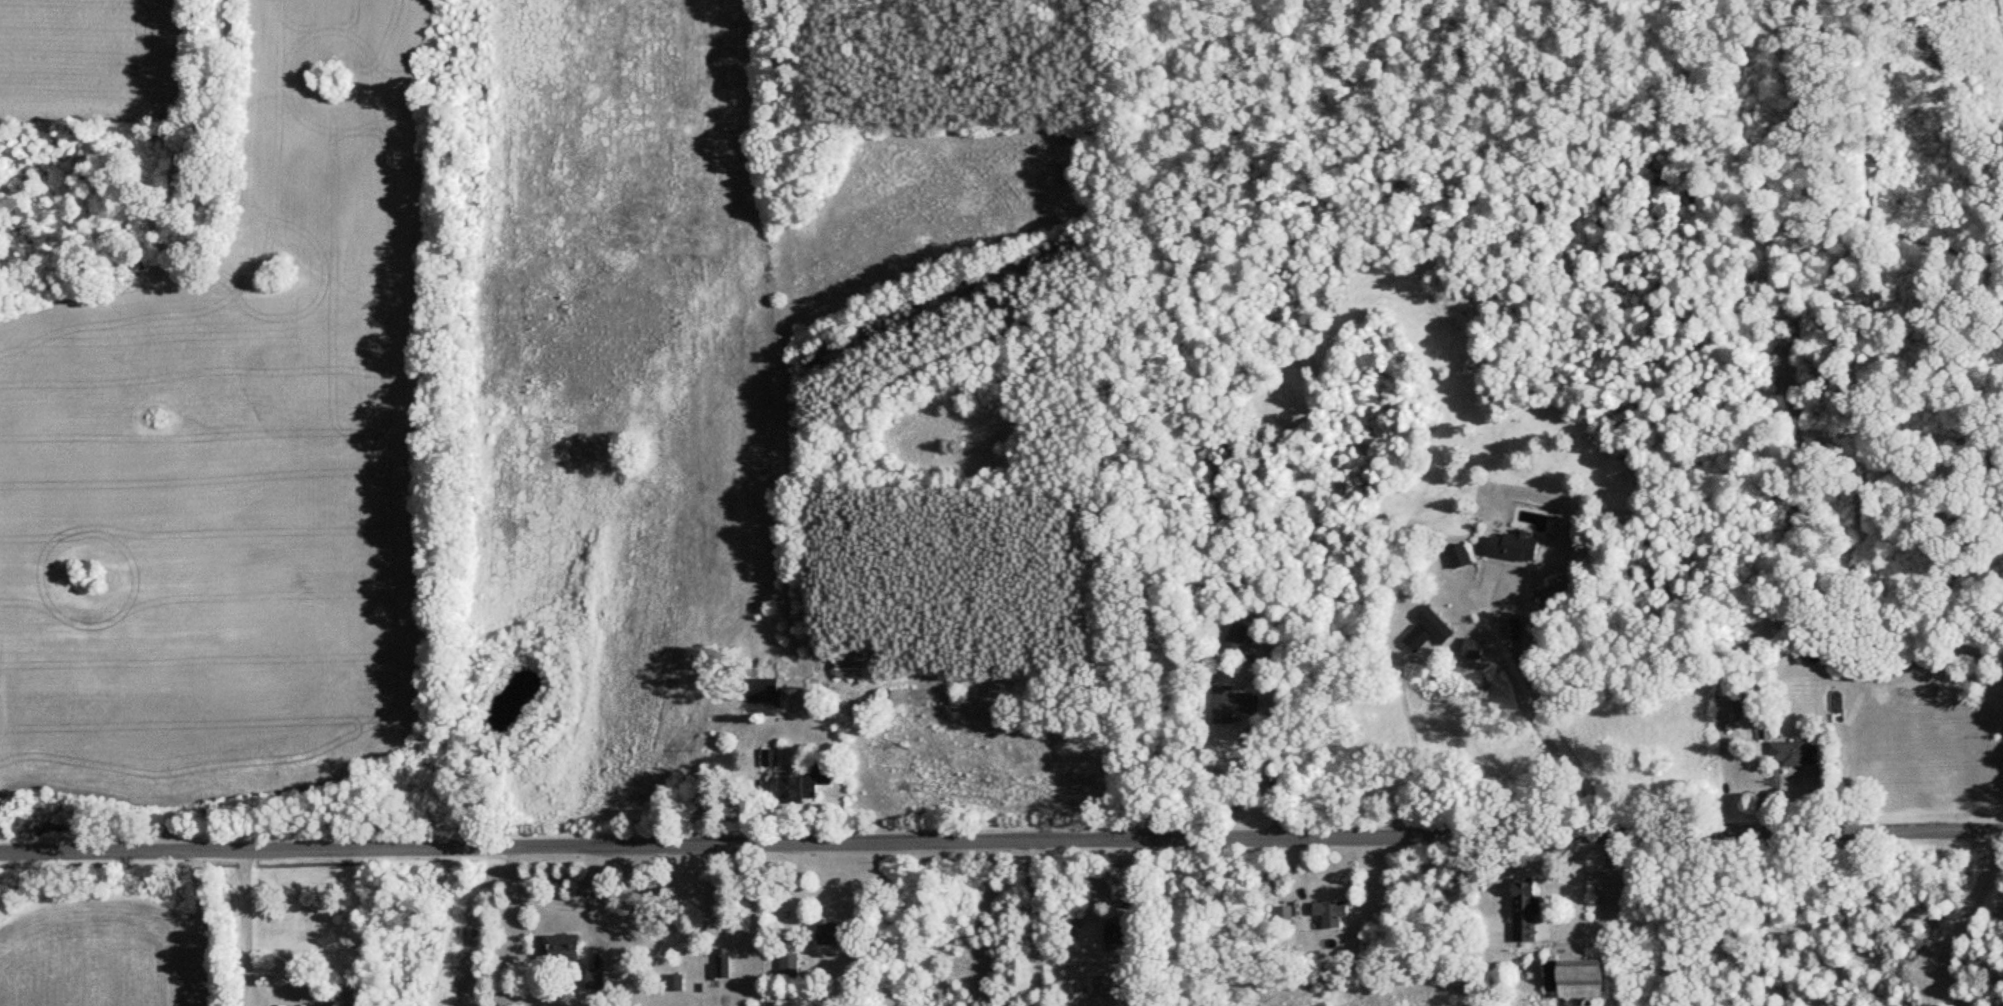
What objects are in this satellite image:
building: (1513, 547)
building: (1427, 631)
building: (1236, 639)
building: (1471, 649)
building: (850, 664)
building: (762, 690)
road: (1536, 703)
building: (1746, 703)
building: (1232, 704)
building: (1793, 752)
road: (1274, 783)
building: (797, 789)
road: (1001, 840)
road: (641, 893)
road: (562, 907)
building: (1524, 911)
building: (1328, 914)
building: (1282, 915)
road: (1034, 922)
road: (196, 928)
road: (249, 928)
building: (830, 934)
building: (1123, 934)
building: (561, 947)
building: (721, 963)
building: (595, 977)
building: (1574, 978)
building: (676, 982)

